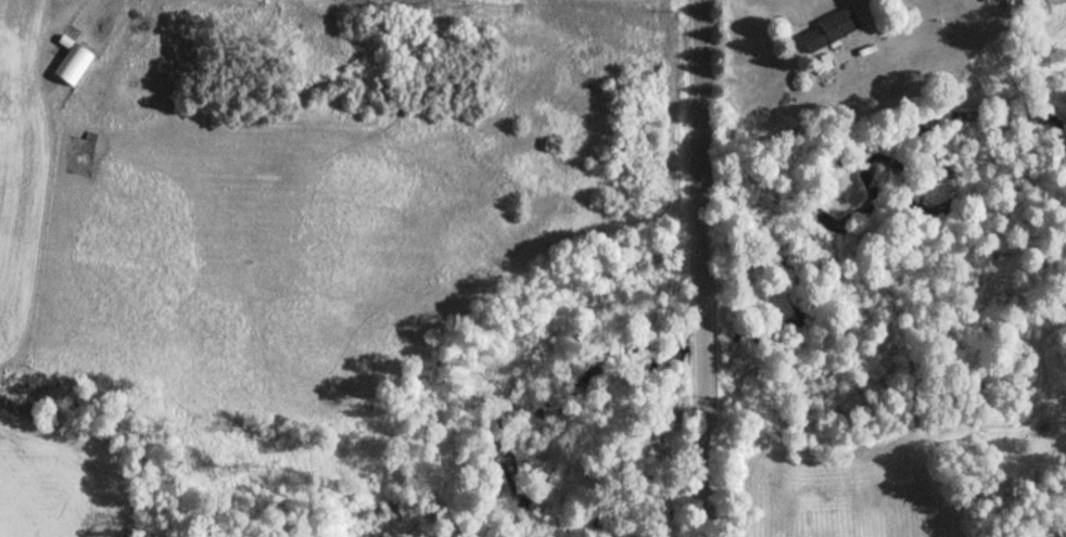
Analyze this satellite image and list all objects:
building: (827, 29)
building: (72, 66)
road: (710, 268)

